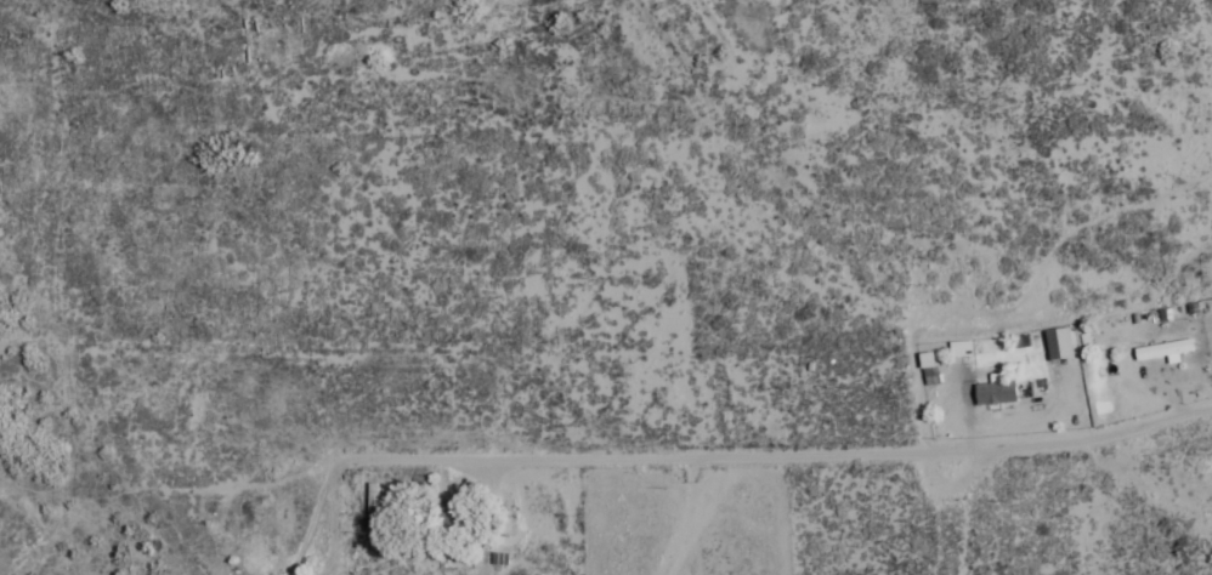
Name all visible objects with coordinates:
building: (934, 377)
building: (997, 394)

